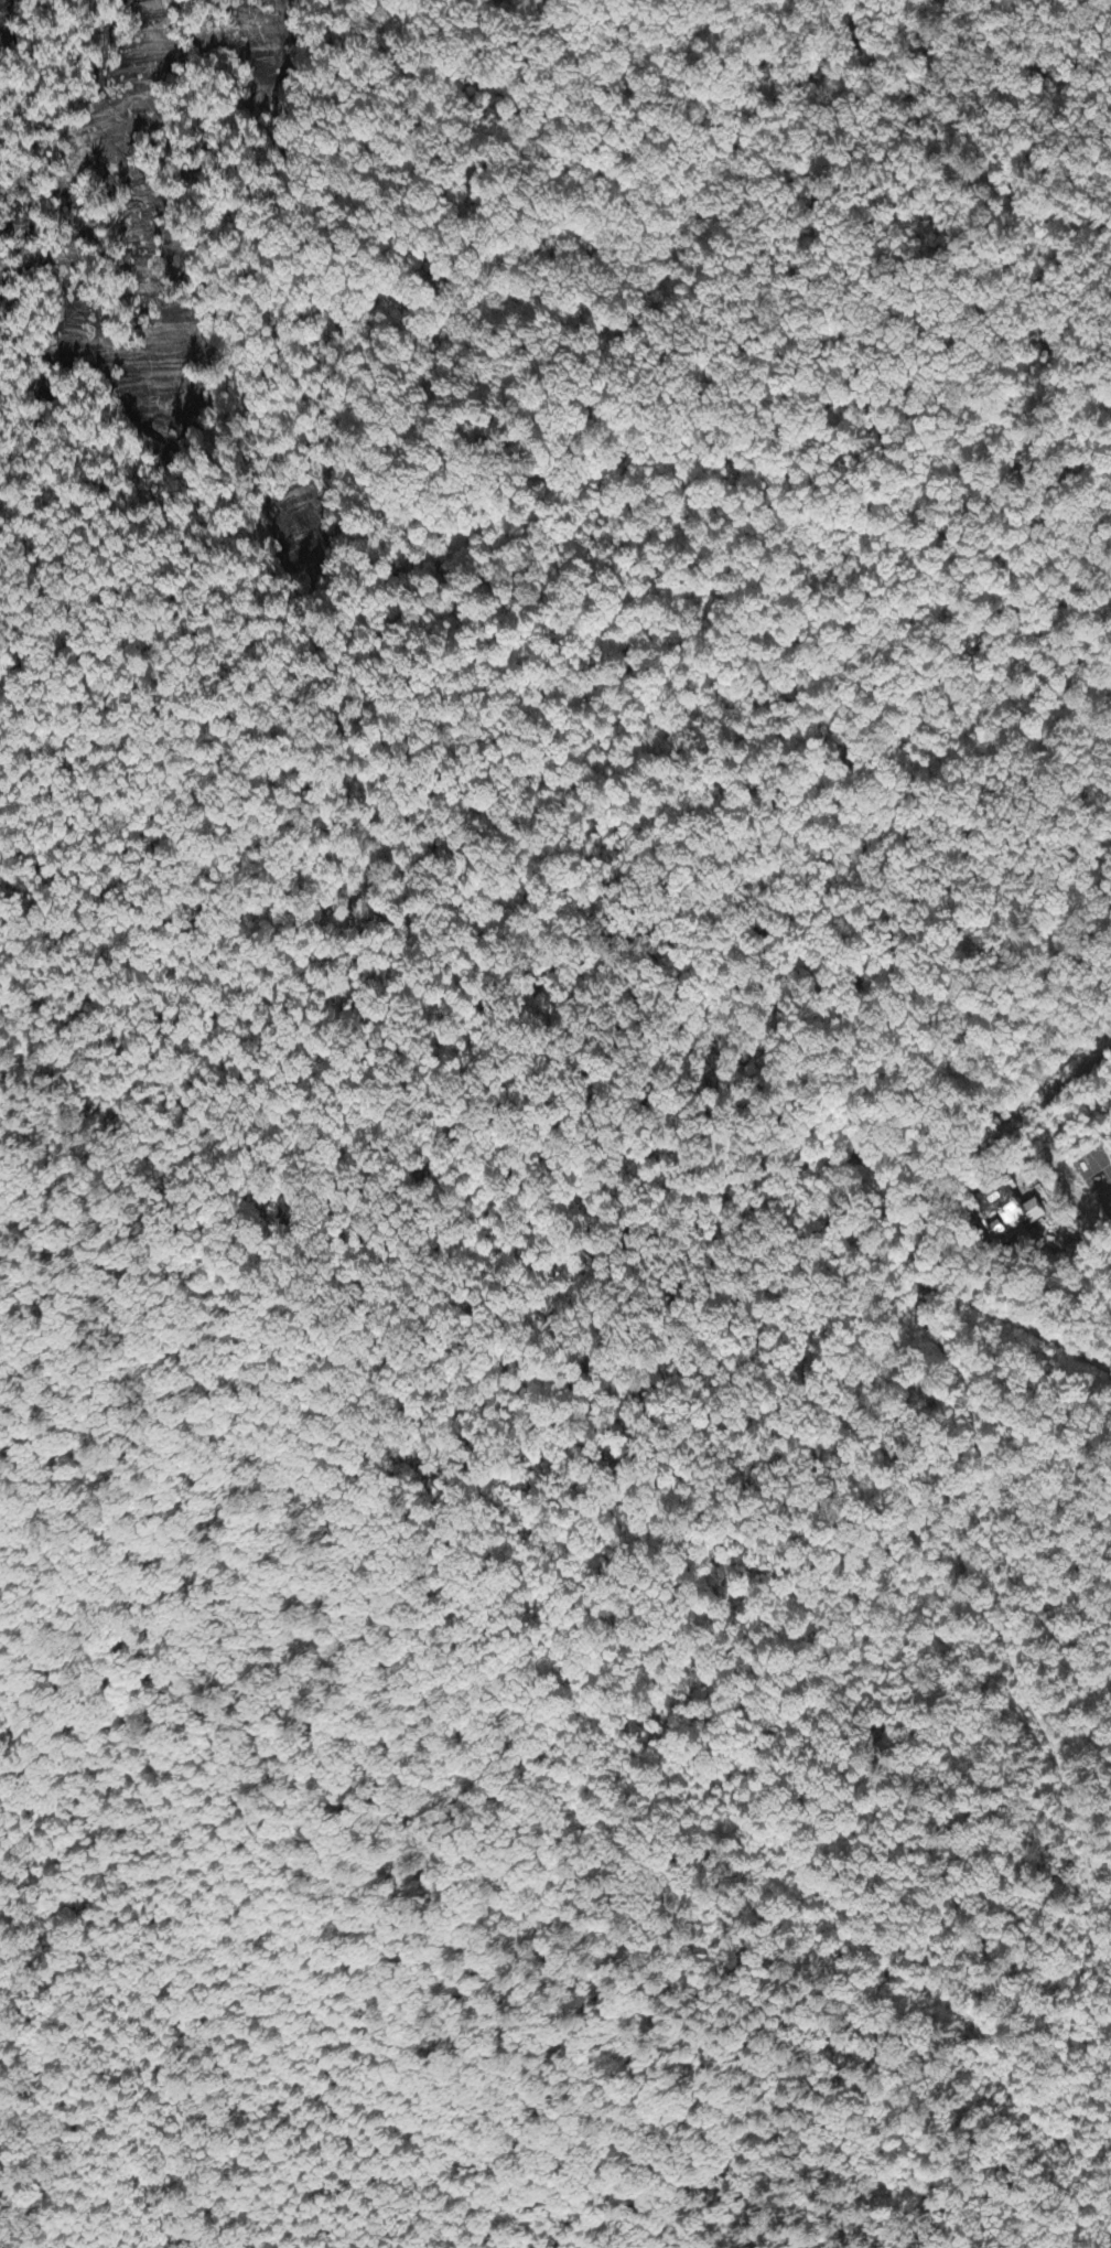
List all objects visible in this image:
park: (168, 427)
building: (1021, 1212)
road: (1078, 2023)

